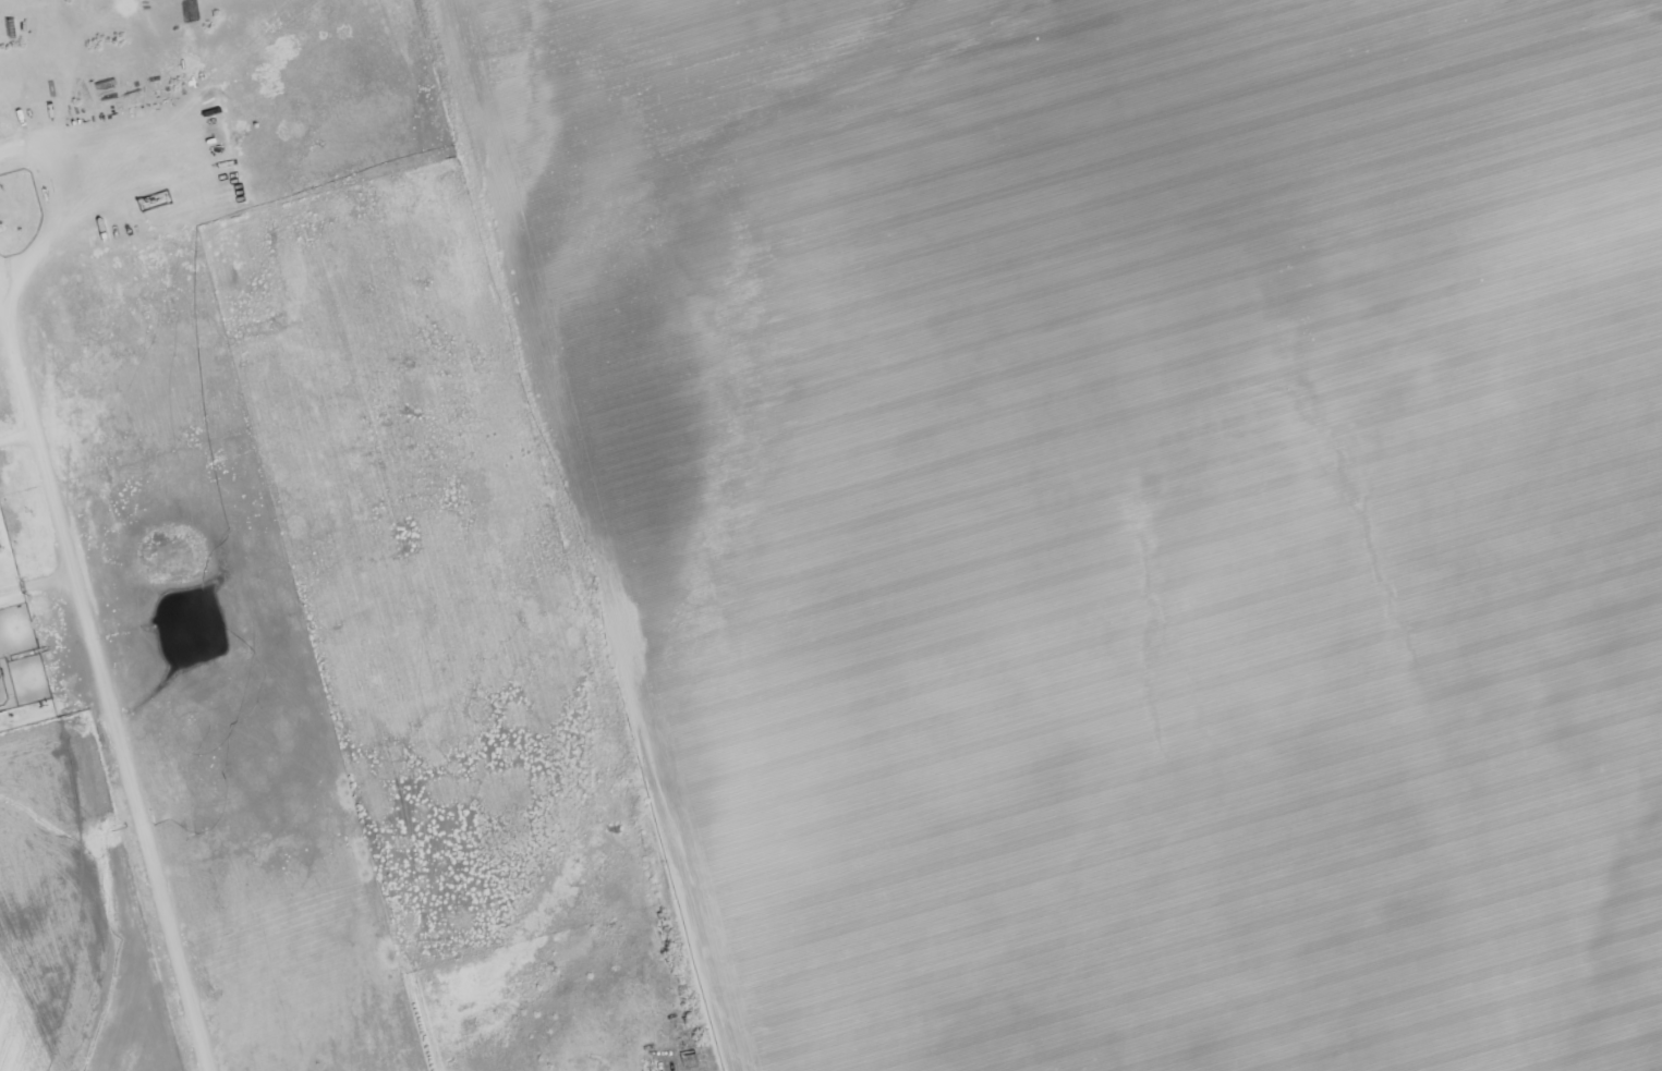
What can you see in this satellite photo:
road: (48, 494)
road: (35, 586)
road: (137, 825)

